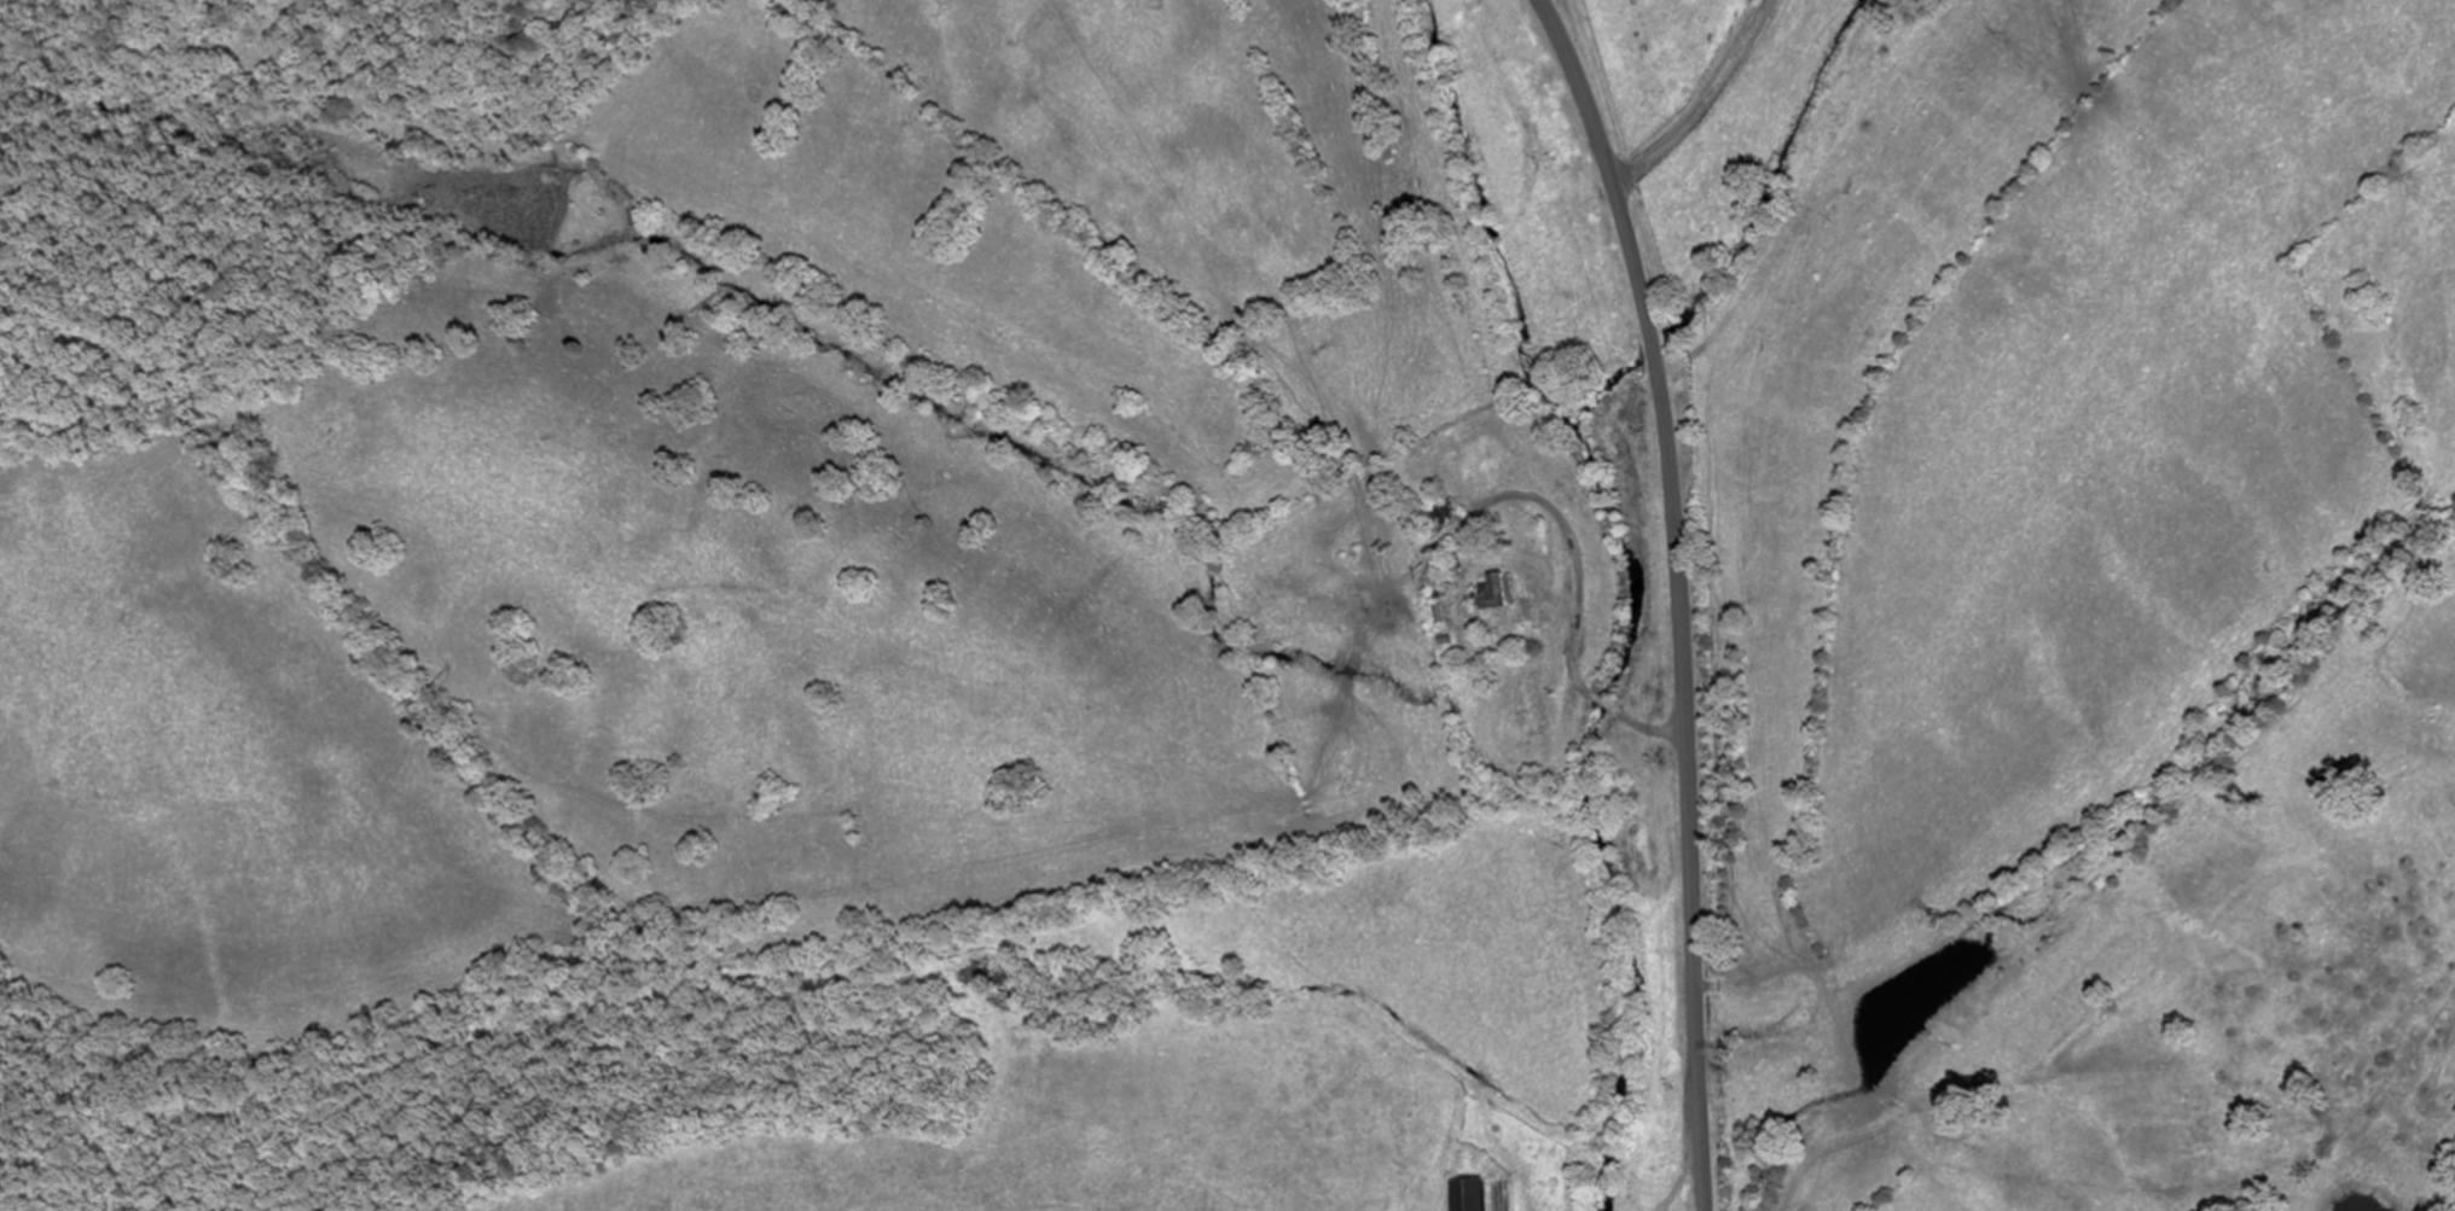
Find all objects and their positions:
building: (1435, 514)
building: (1272, 588)
building: (1495, 592)
road: (1677, 594)
building: (1467, 1194)

